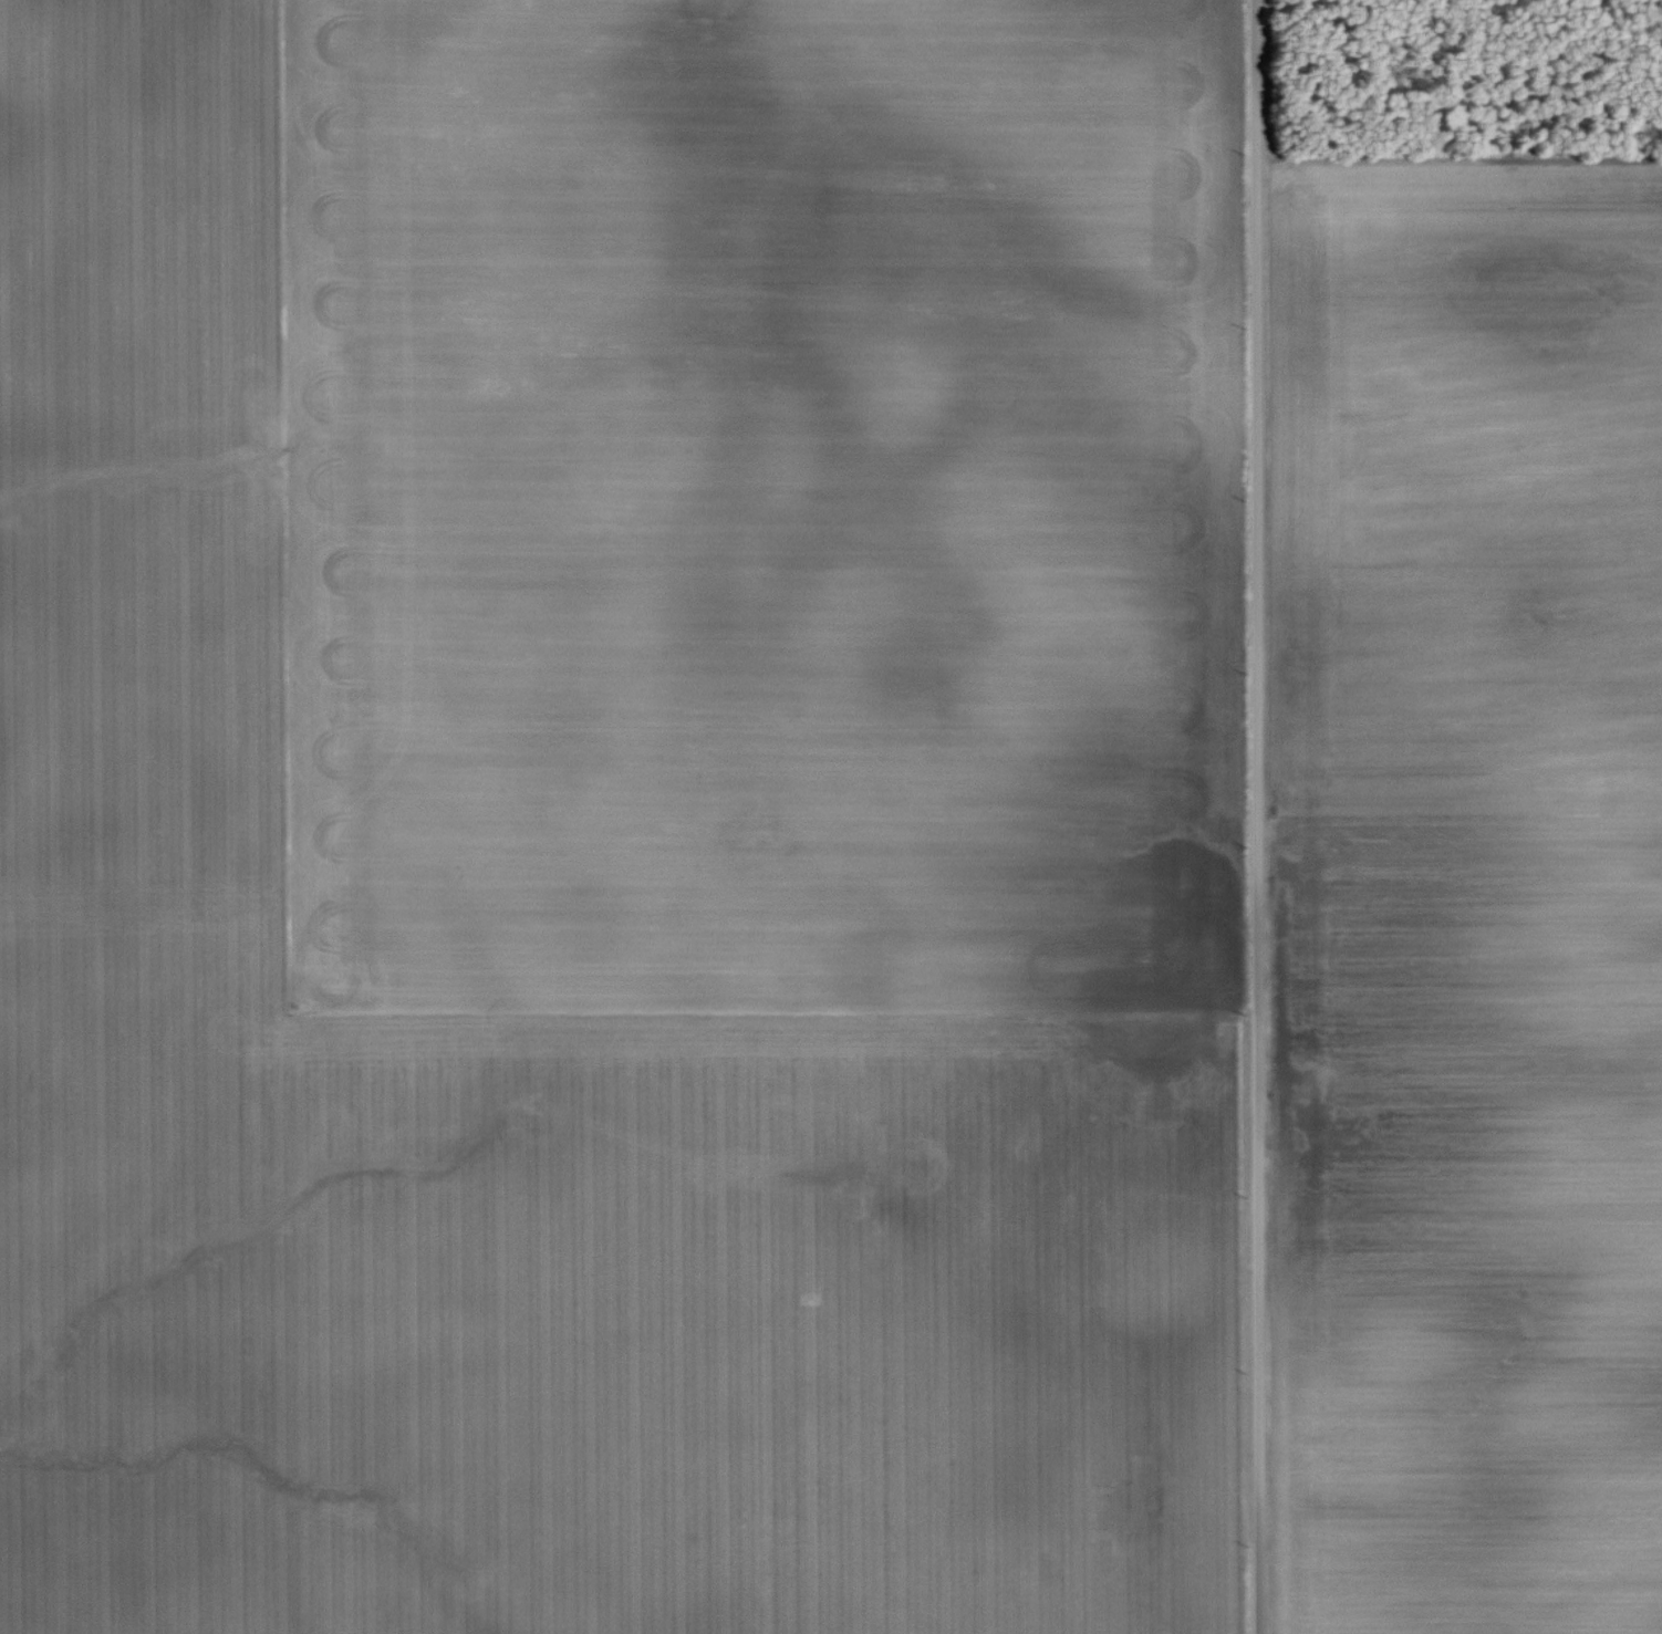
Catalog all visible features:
road: (1254, 816)

